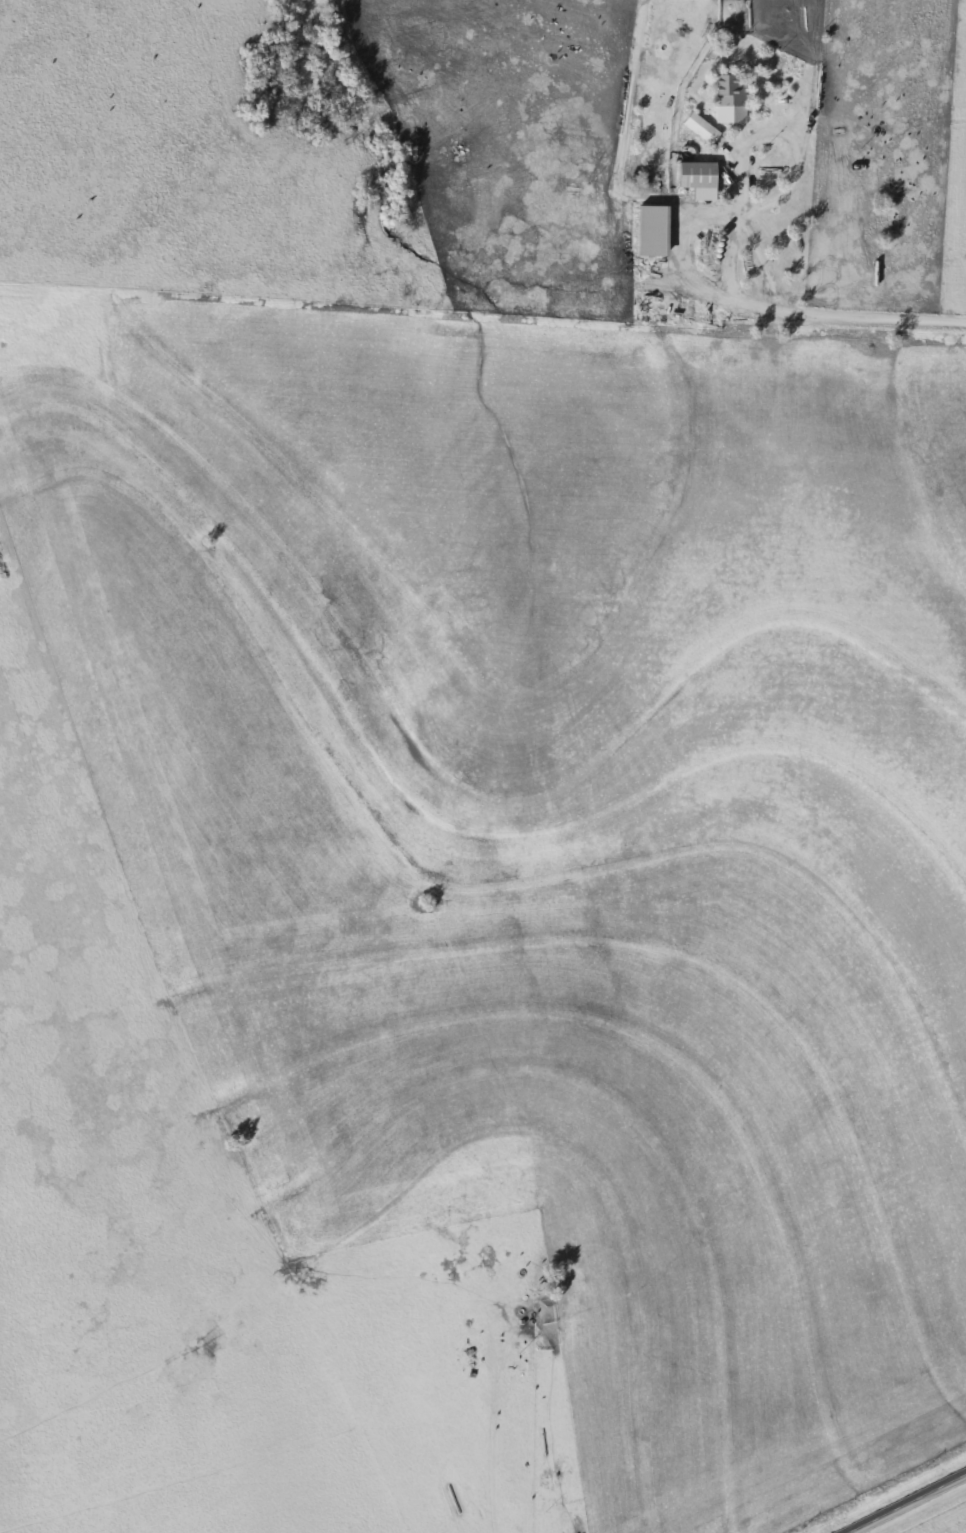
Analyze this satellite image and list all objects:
building: (728, 95)
building: (699, 129)
building: (695, 176)
road: (786, 314)
road: (907, 1503)

